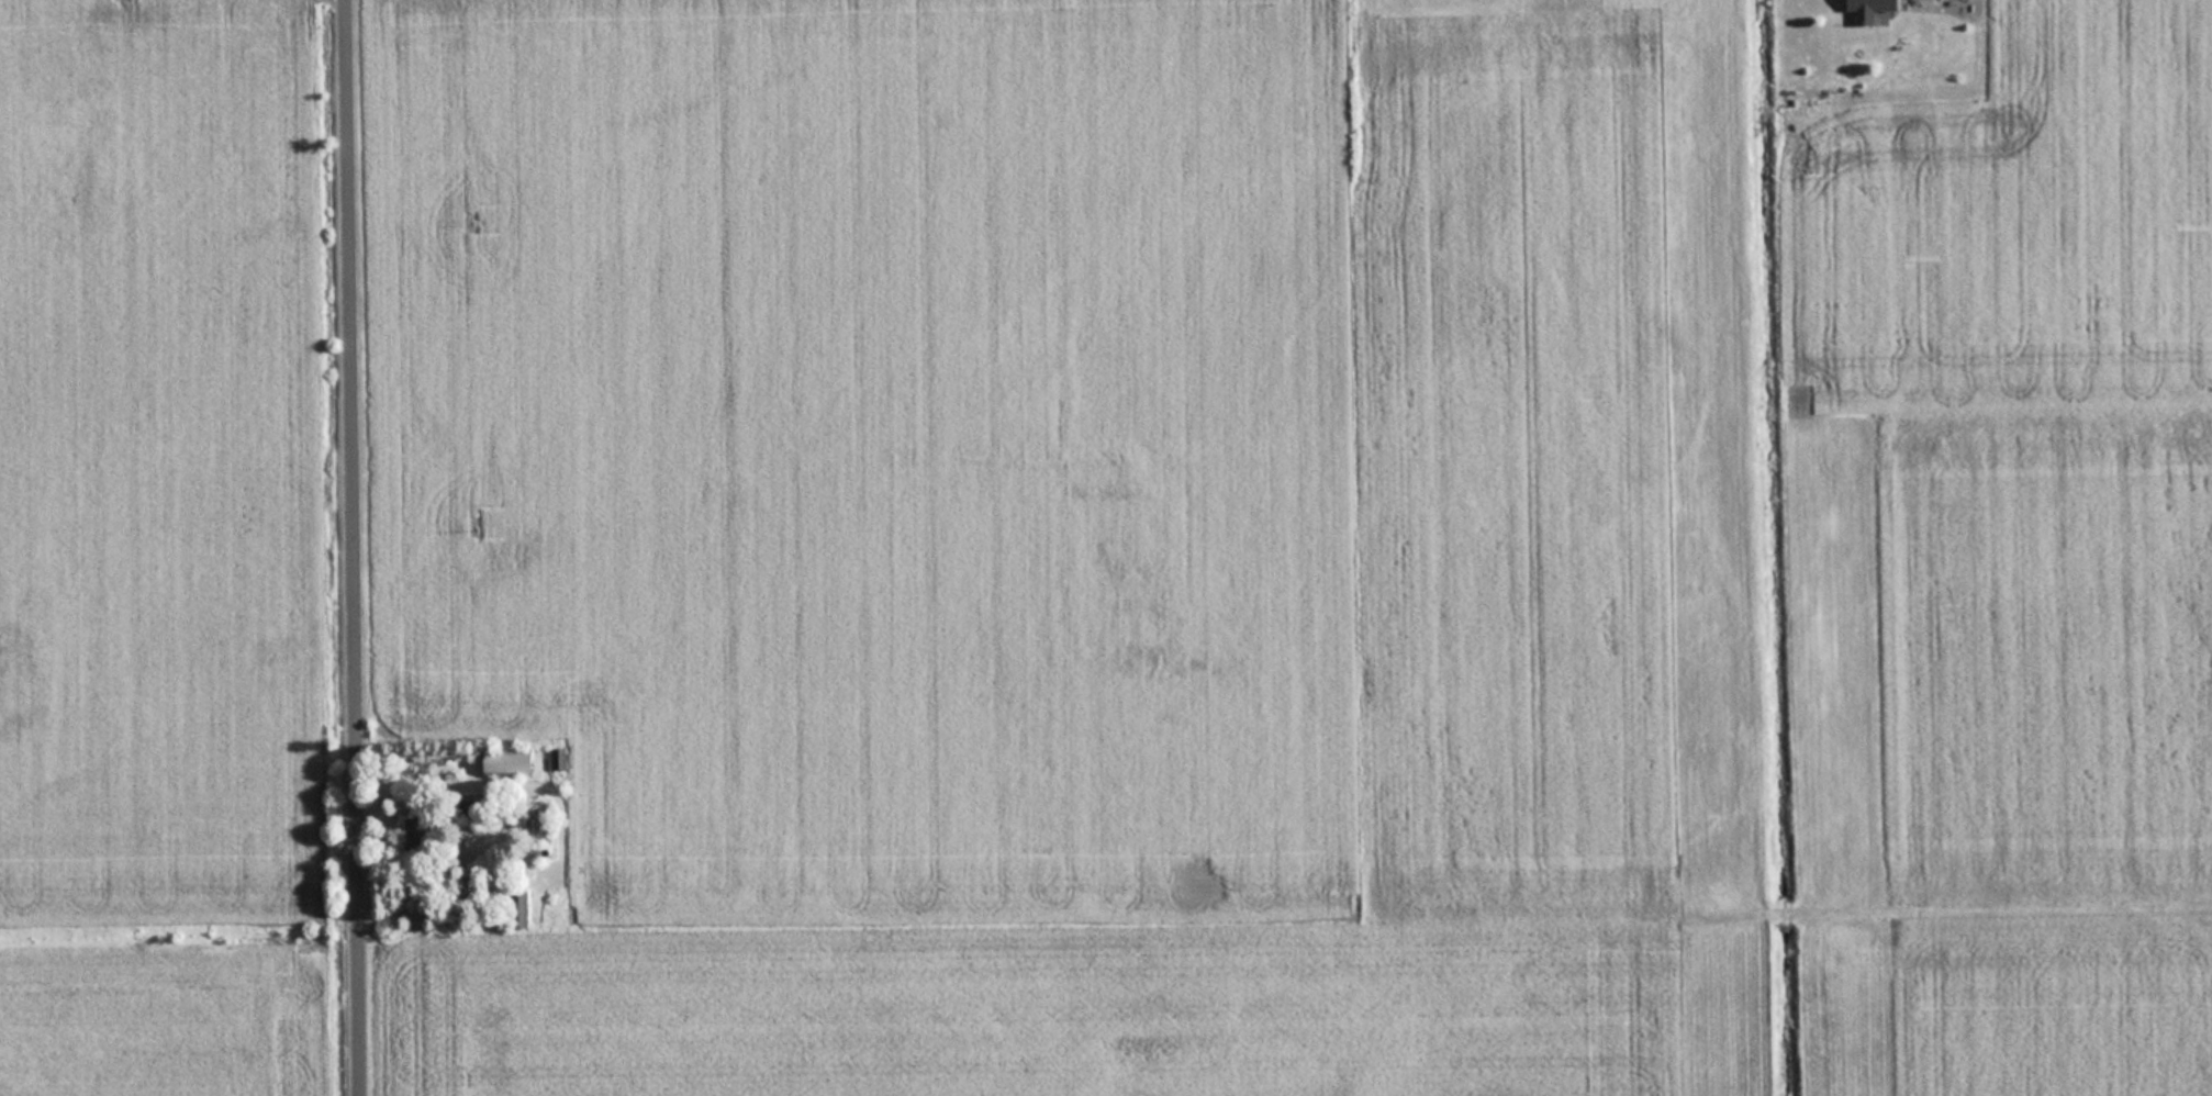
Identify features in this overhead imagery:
building: (1869, 9)
road: (355, 547)
building: (559, 758)
building: (509, 763)
building: (415, 834)
building: (518, 908)

